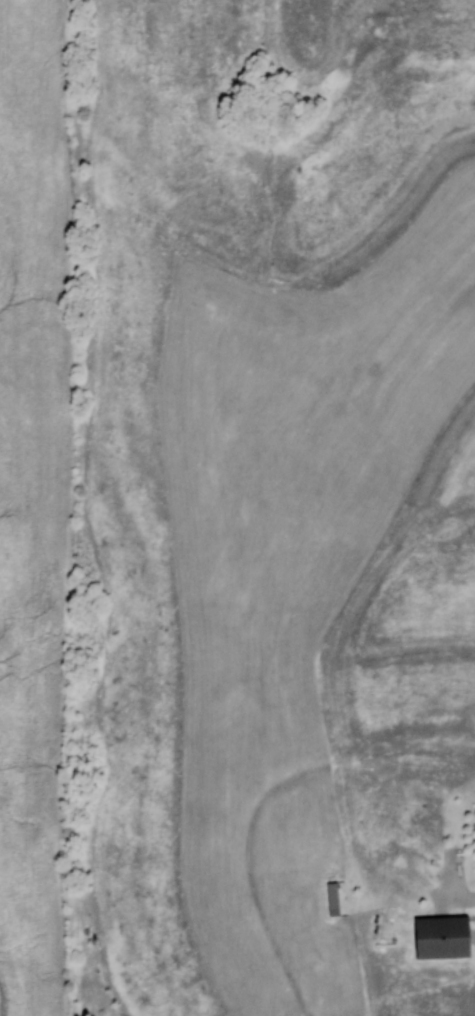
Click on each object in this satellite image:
building: (332, 898)
building: (440, 937)

